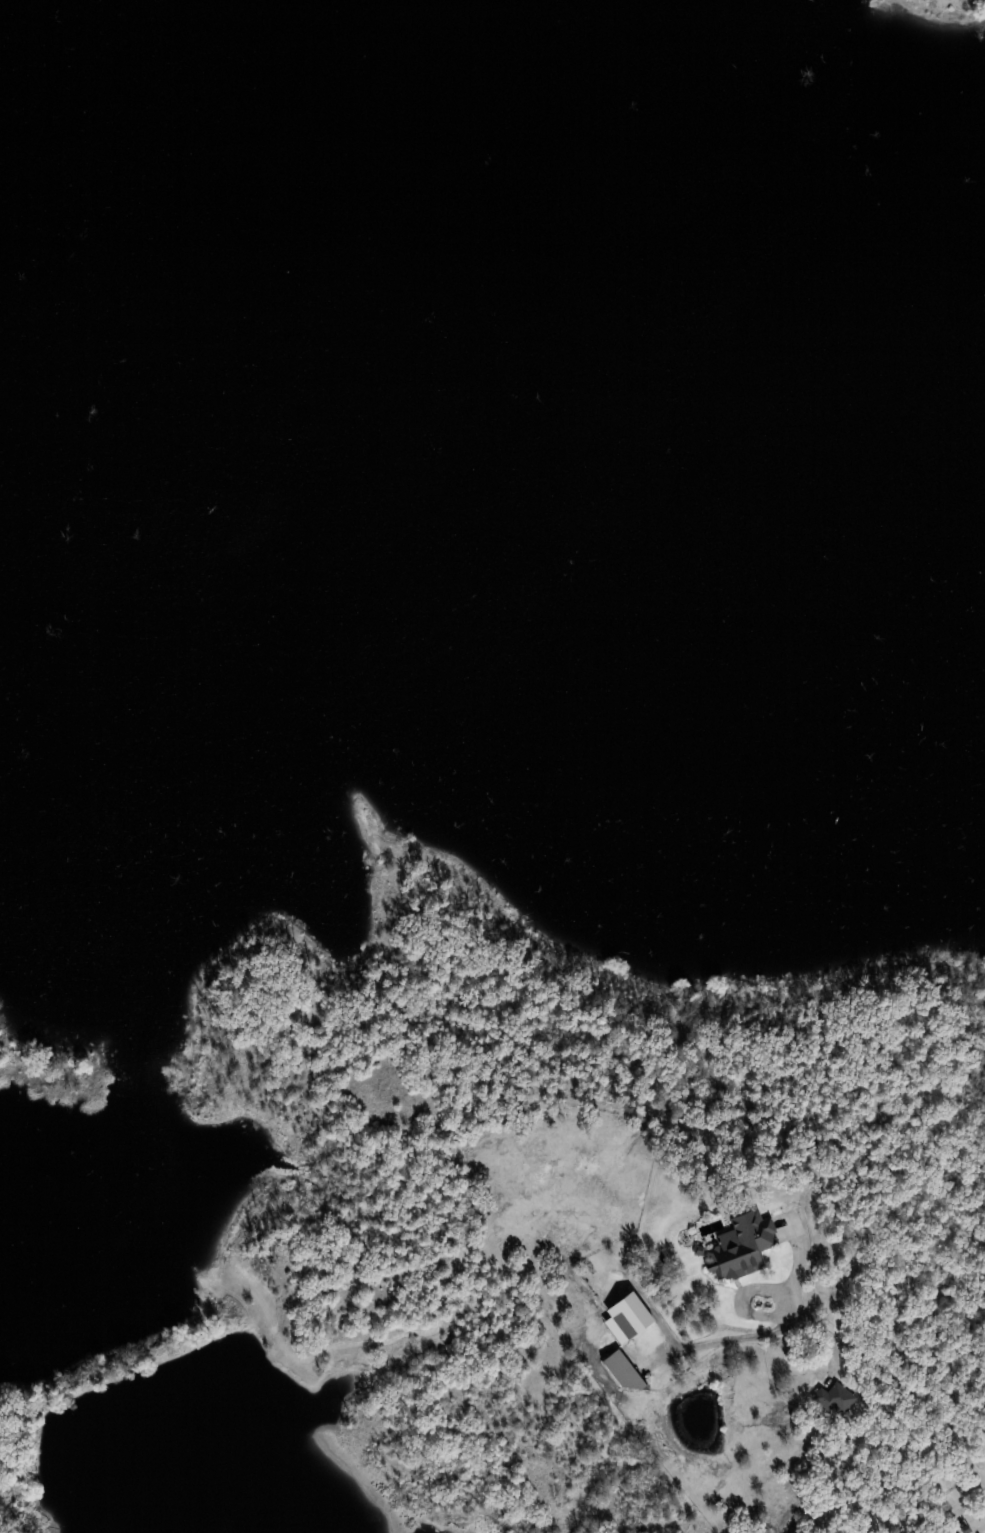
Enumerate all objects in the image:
building: (739, 1246)
road: (741, 1296)
building: (626, 1321)
building: (619, 1371)
road: (900, 1374)
building: (834, 1400)

